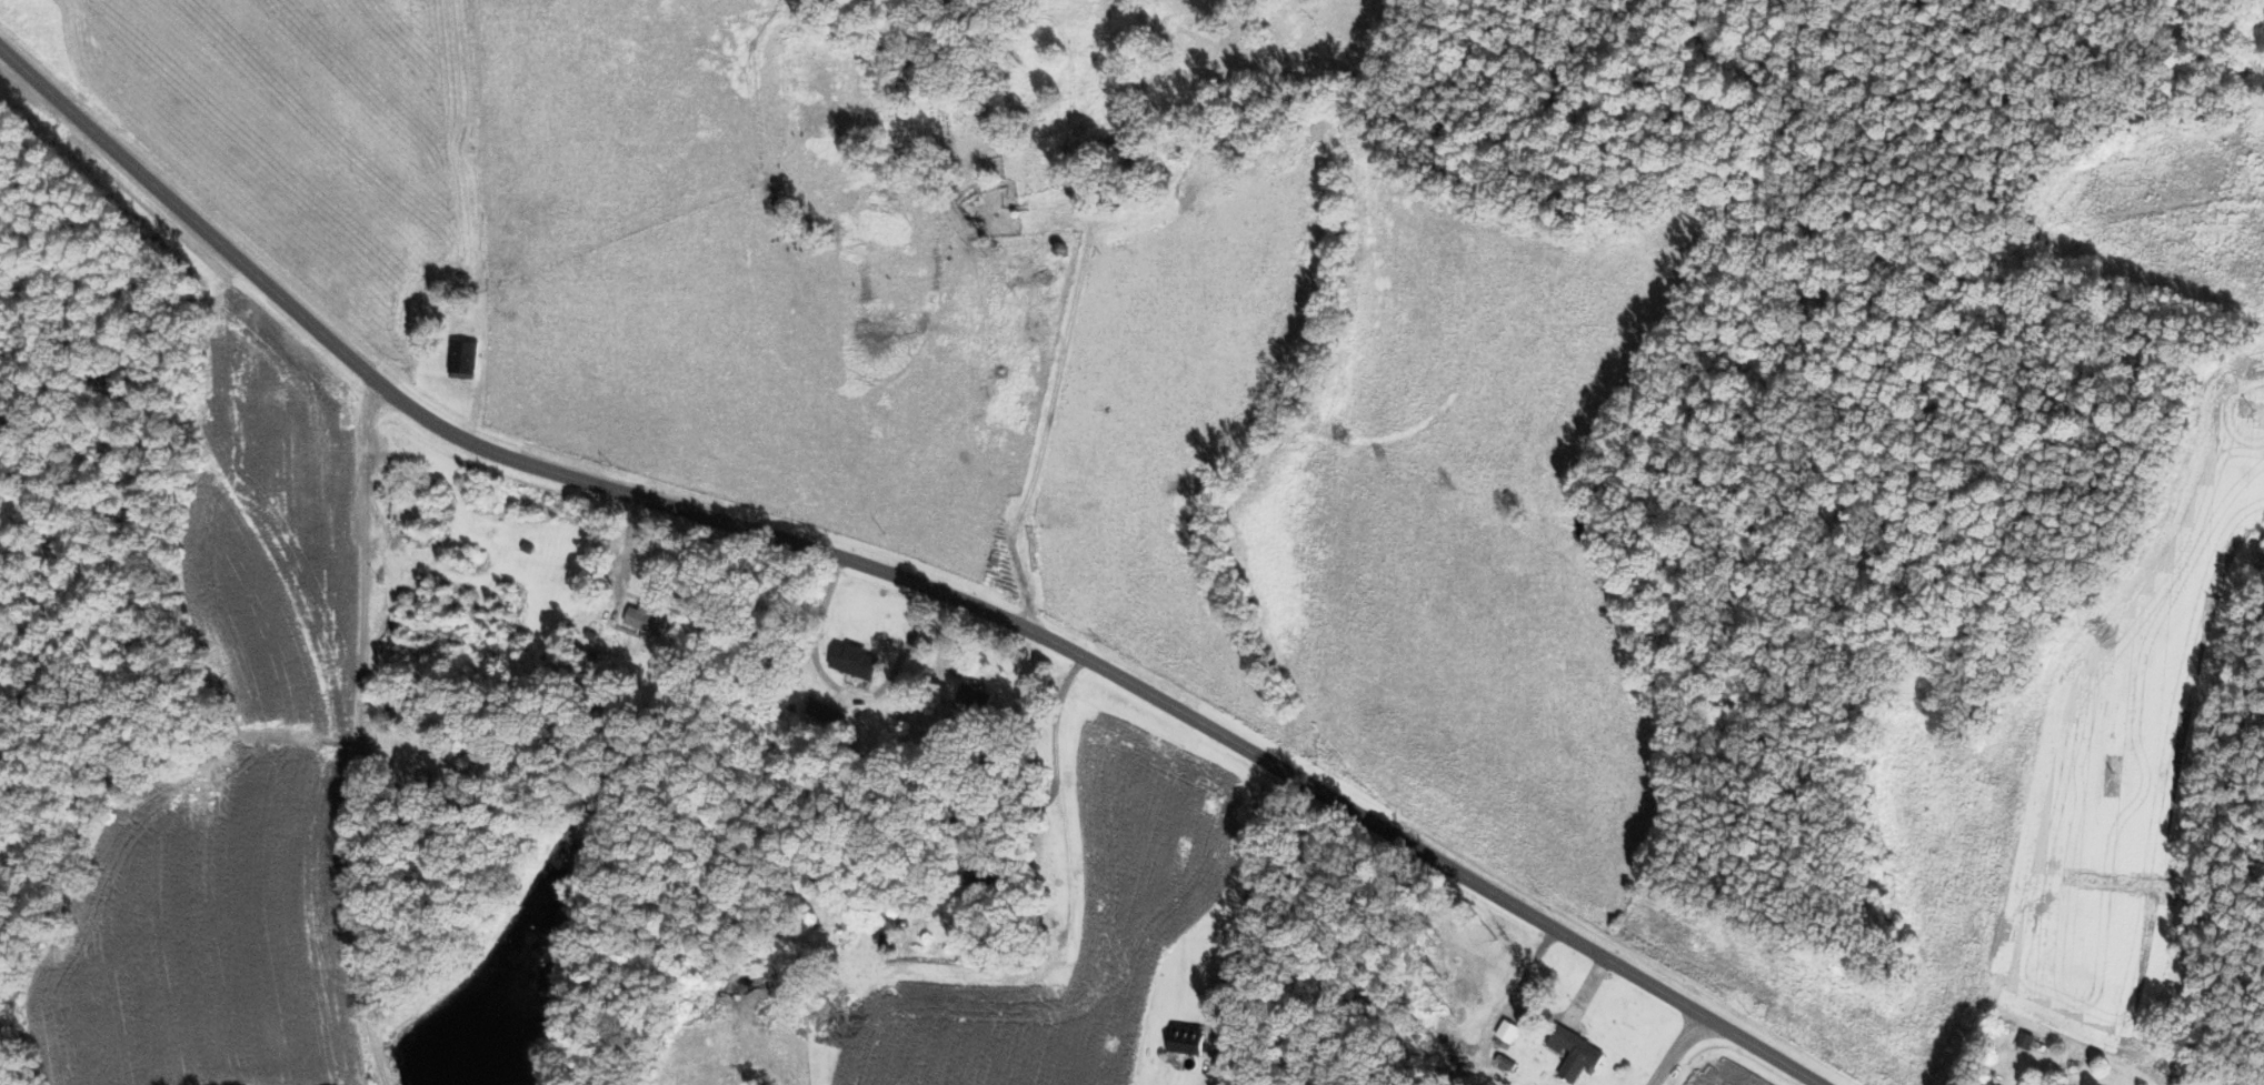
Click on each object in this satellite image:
road: (184, 212)
building: (462, 356)
road: (1043, 428)
building: (645, 621)
building: (854, 661)
road: (1117, 676)
road: (365, 731)
road: (1061, 805)
road: (1245, 898)
building: (1508, 1032)
building: (1186, 1039)
building: (2025, 1041)
road: (1680, 1052)
building: (1574, 1053)

